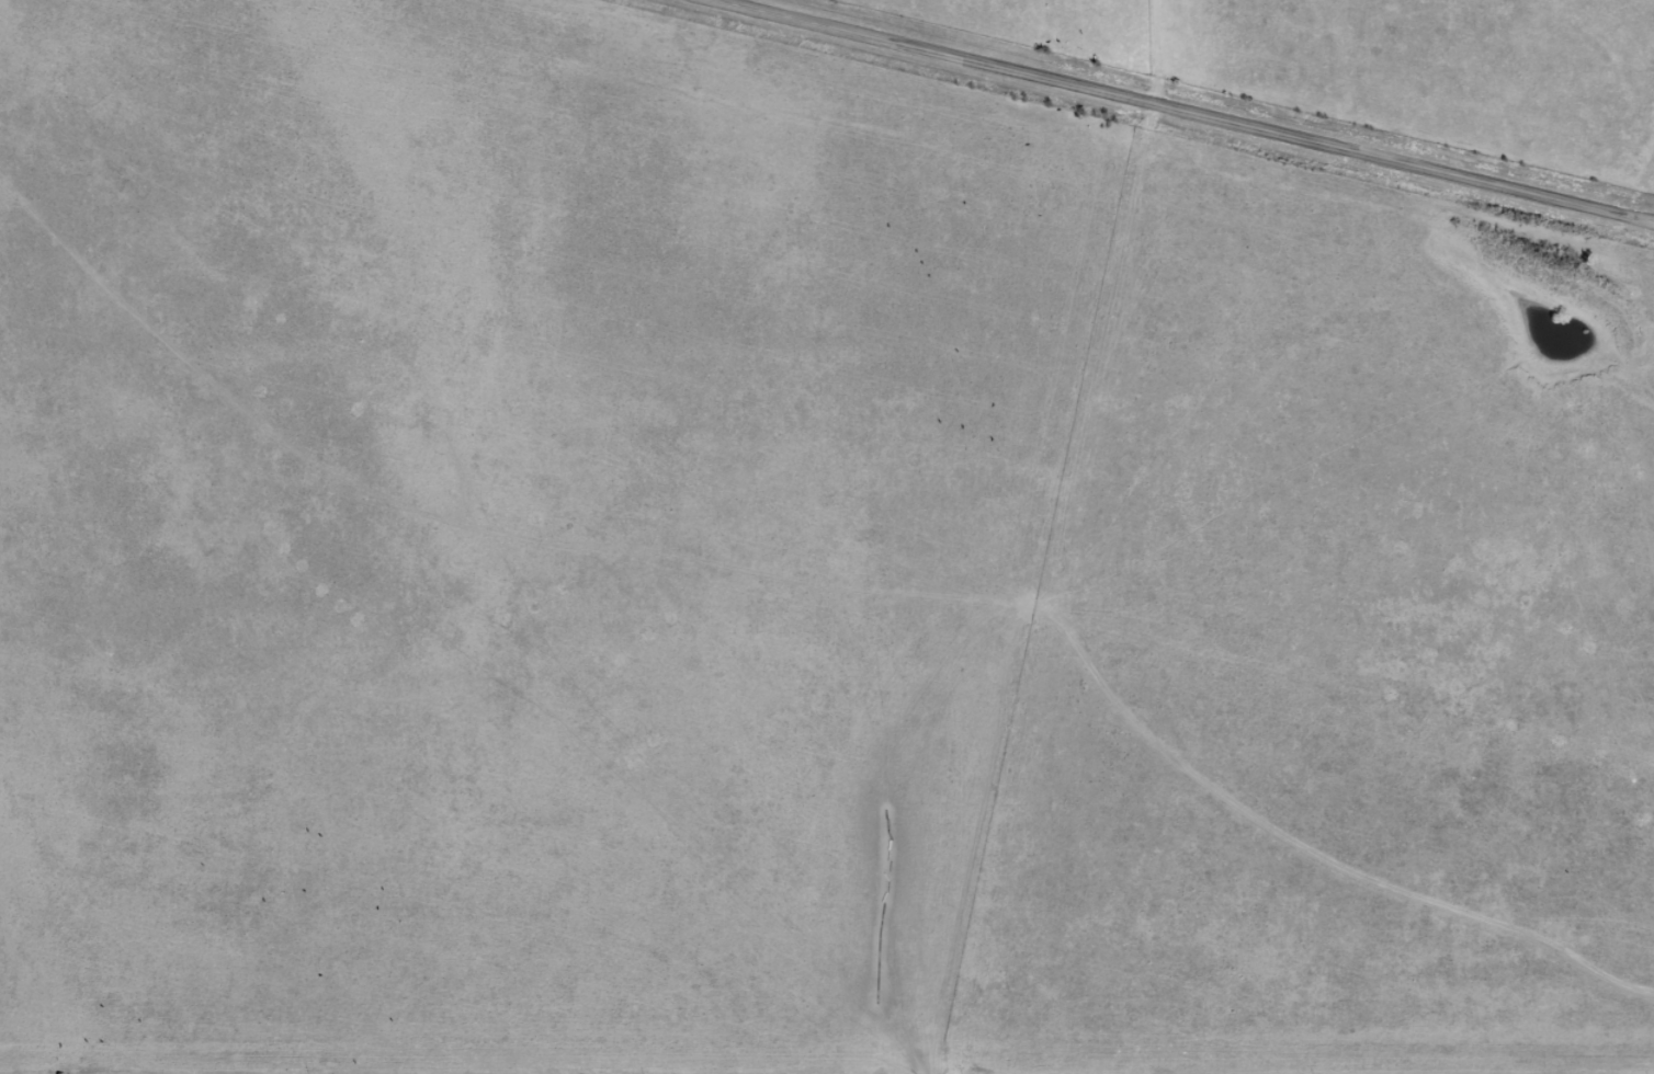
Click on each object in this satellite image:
road: (1180, 112)

